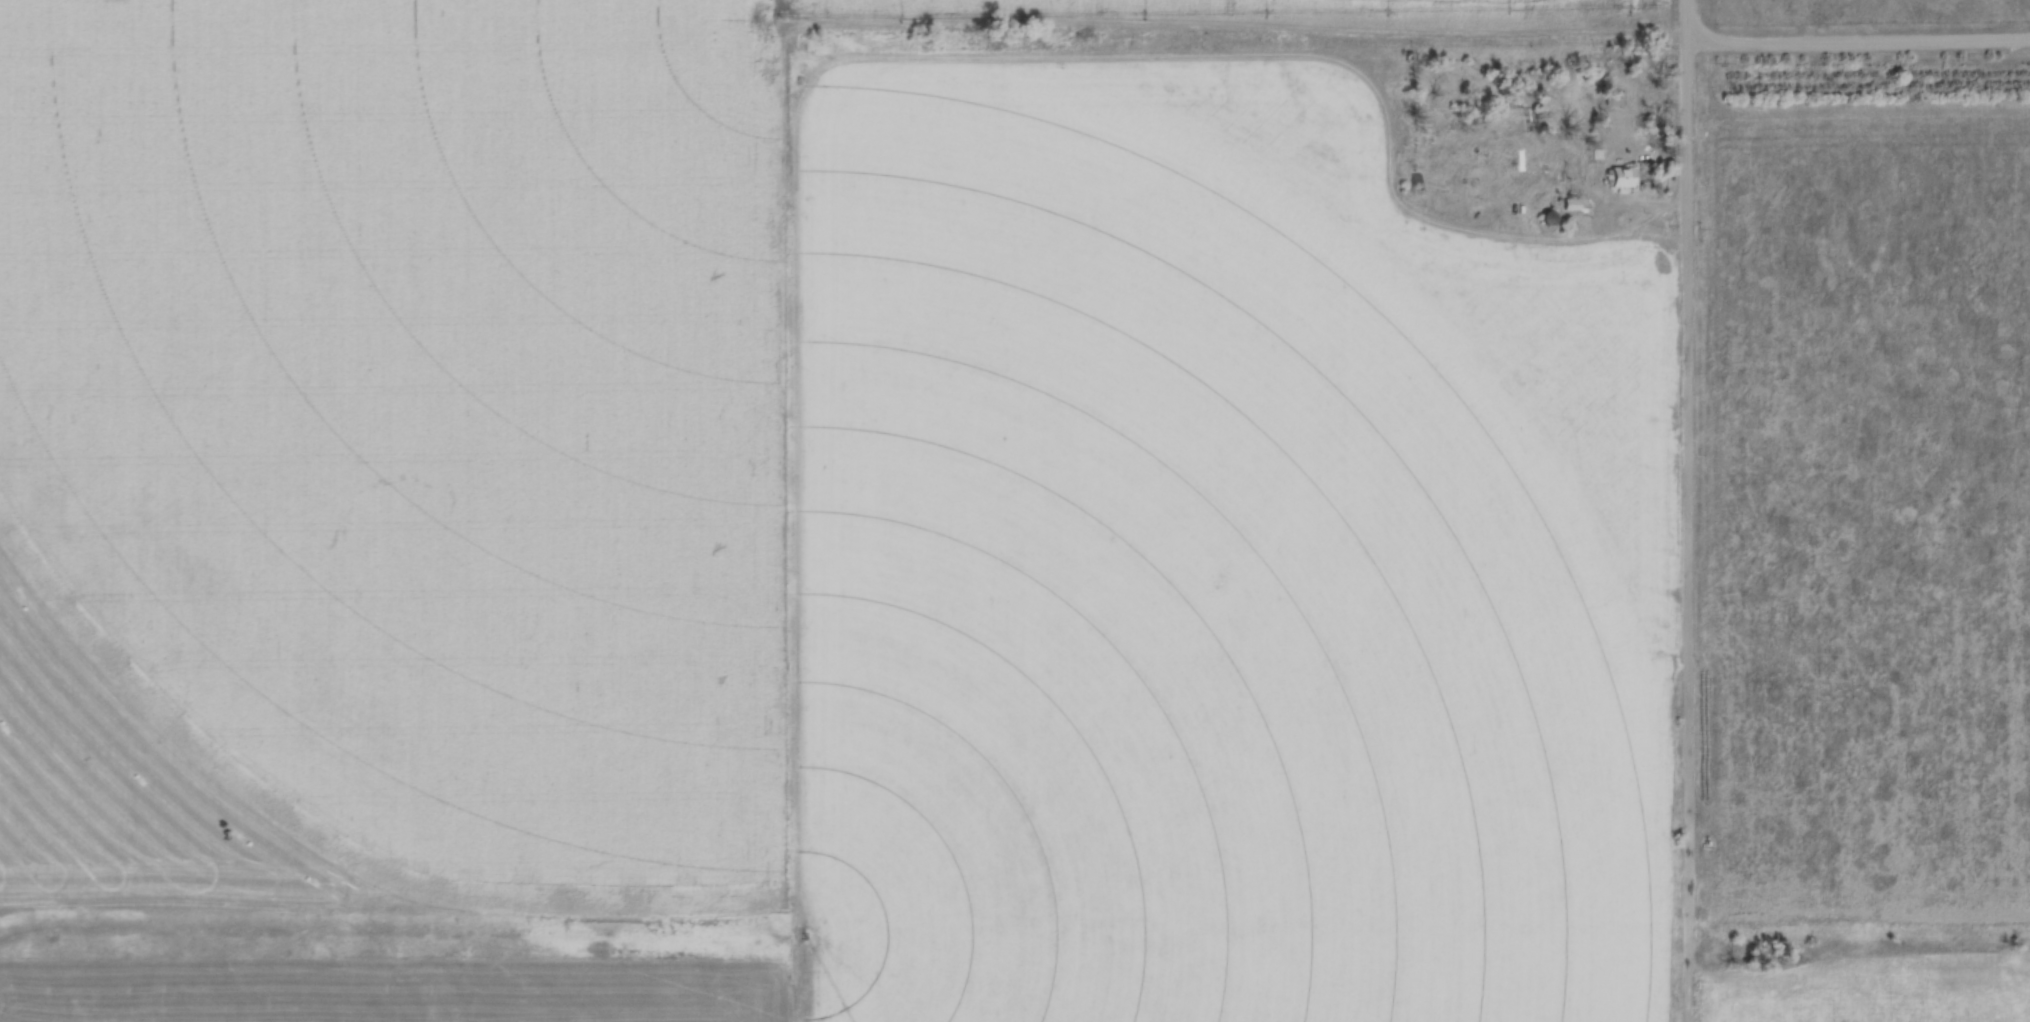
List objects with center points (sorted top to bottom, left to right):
road: (1860, 44)
building: (1622, 176)
road: (1625, 197)
building: (1549, 217)
road: (1691, 511)

